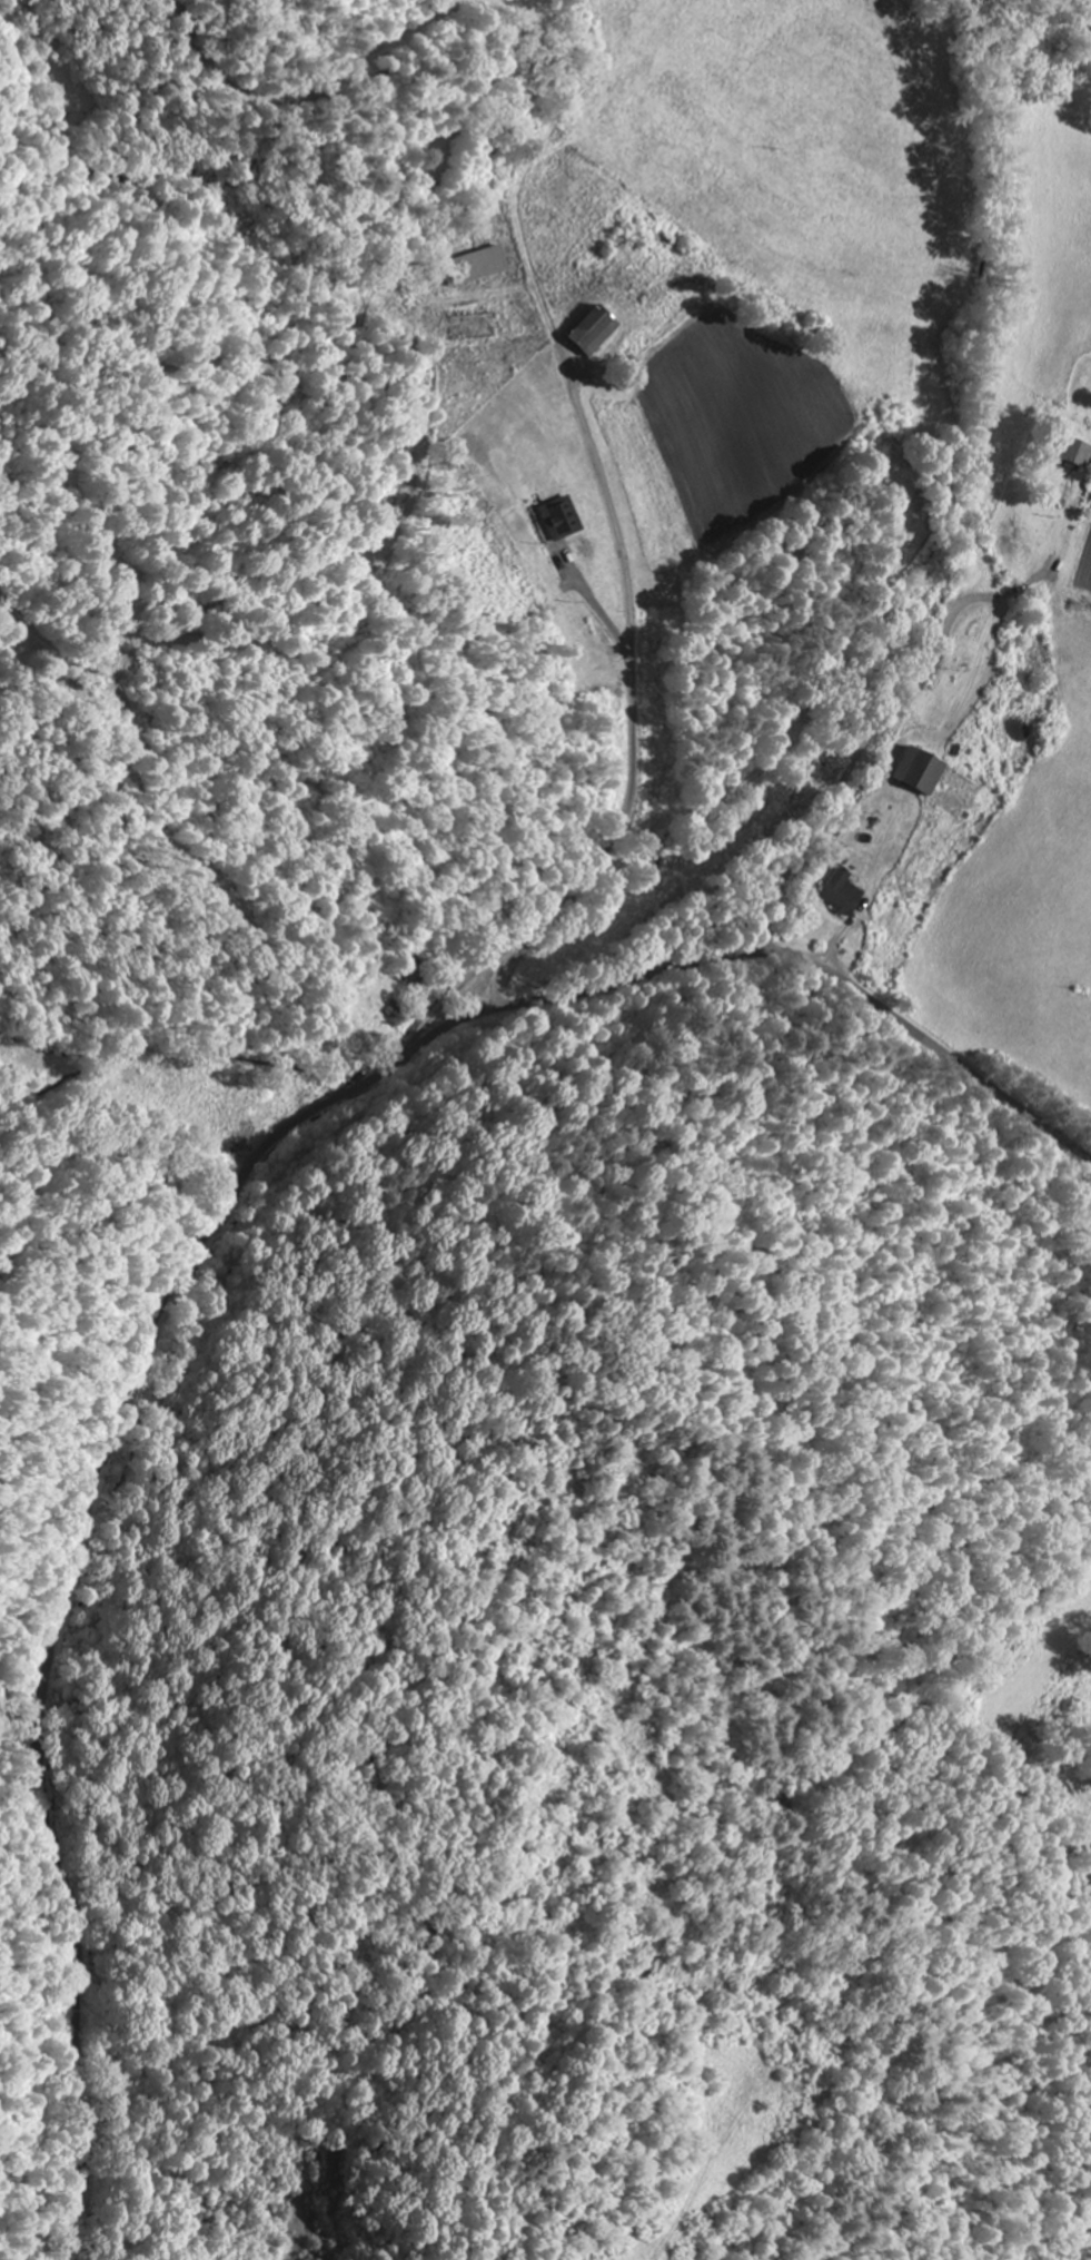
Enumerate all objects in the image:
building: (587, 332)
building: (1071, 453)
road: (609, 507)
building: (554, 520)
road: (856, 768)
building: (910, 772)
building: (836, 894)
road: (770, 951)
road: (224, 965)
road: (57, 1600)
road: (356, 2198)

